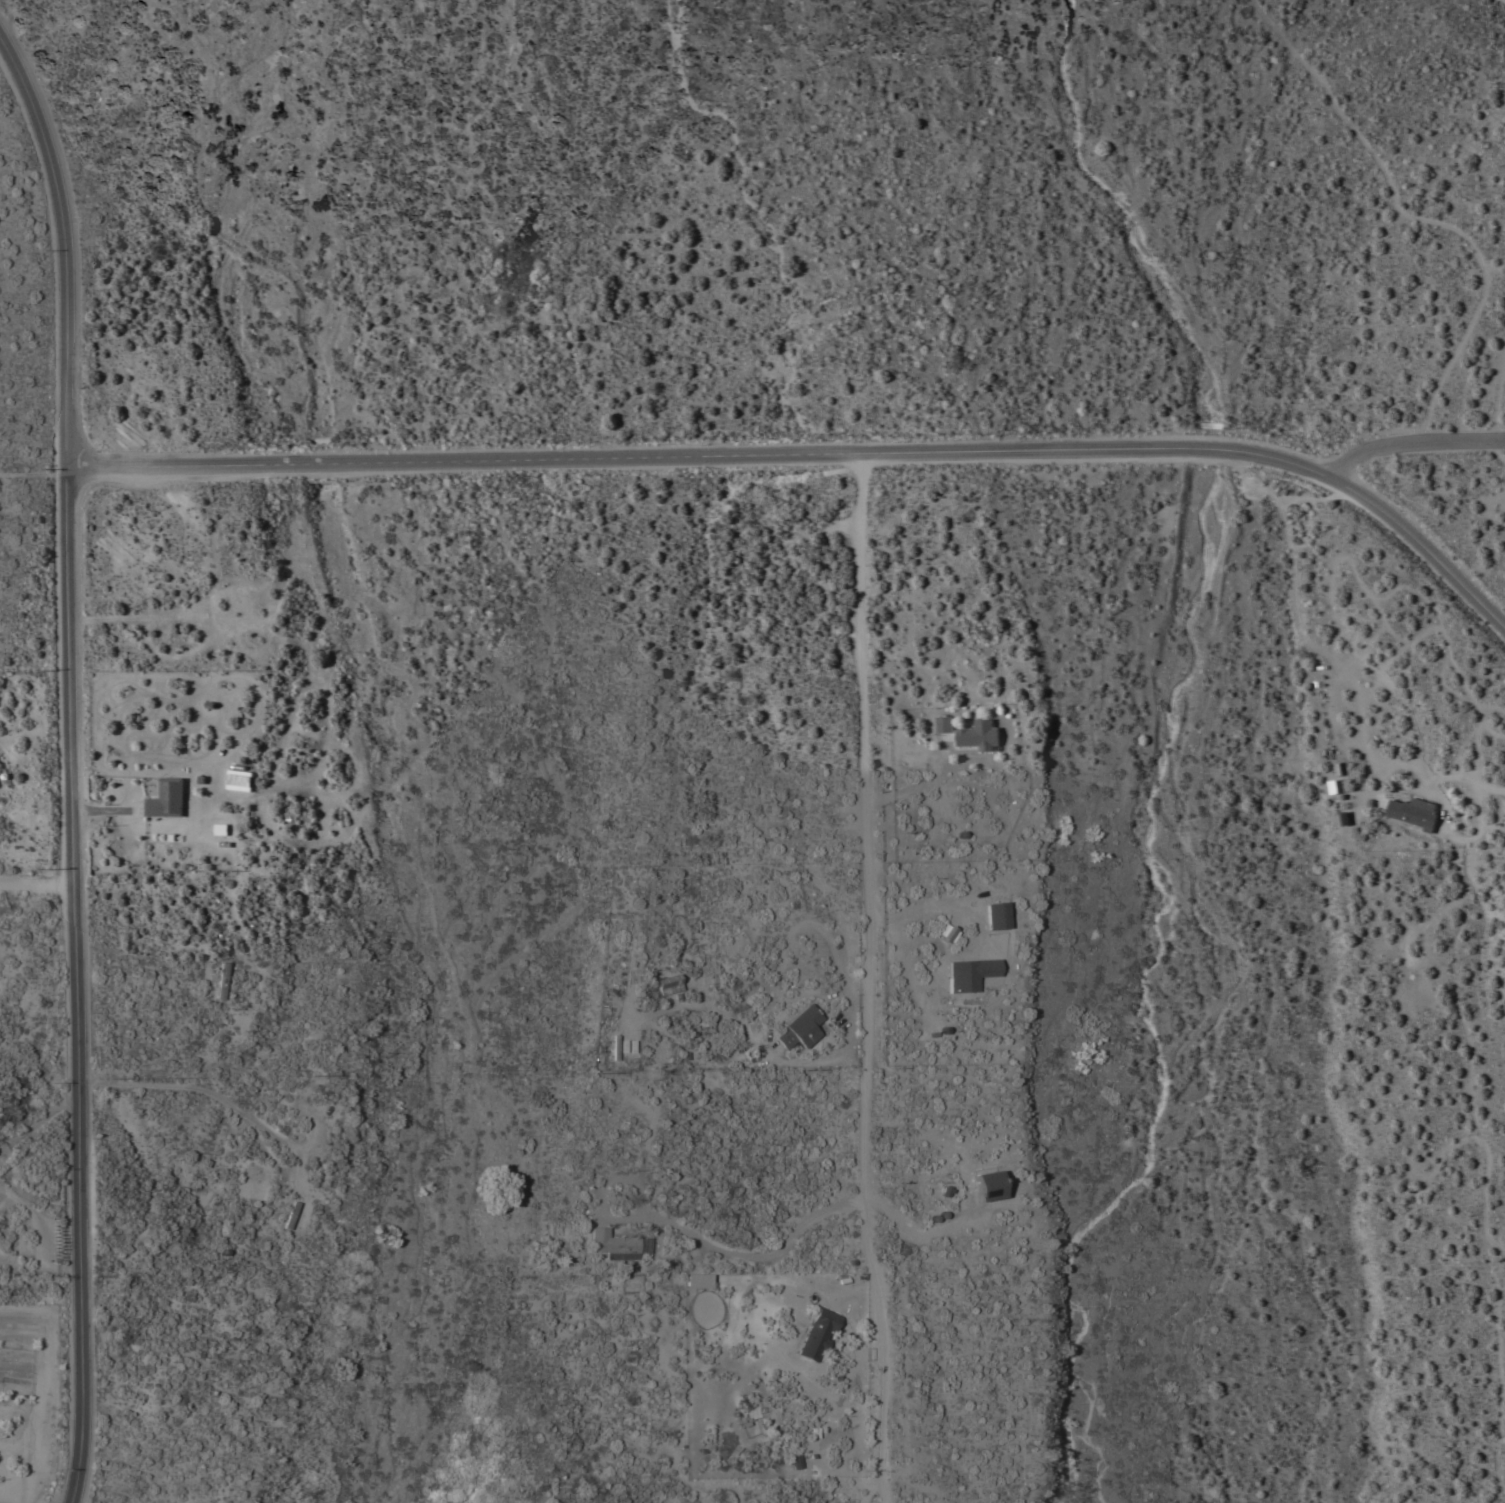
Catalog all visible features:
road: (70, 242)
road: (1413, 444)
road: (708, 456)
road: (1426, 543)
building: (943, 724)
building: (978, 736)
road: (1444, 779)
building: (239, 780)
building: (167, 798)
building: (1413, 812)
building: (221, 829)
road: (39, 884)
road: (936, 908)
building: (996, 916)
building: (946, 934)
building: (970, 975)
road: (867, 979)
building: (222, 981)
road: (78, 983)
building: (669, 984)
building: (799, 1028)
road: (239, 1112)
road: (1490, 1168)
building: (985, 1185)
building: (289, 1216)
building: (613, 1244)
road: (738, 1255)
building: (817, 1334)
road: (1501, 1360)

